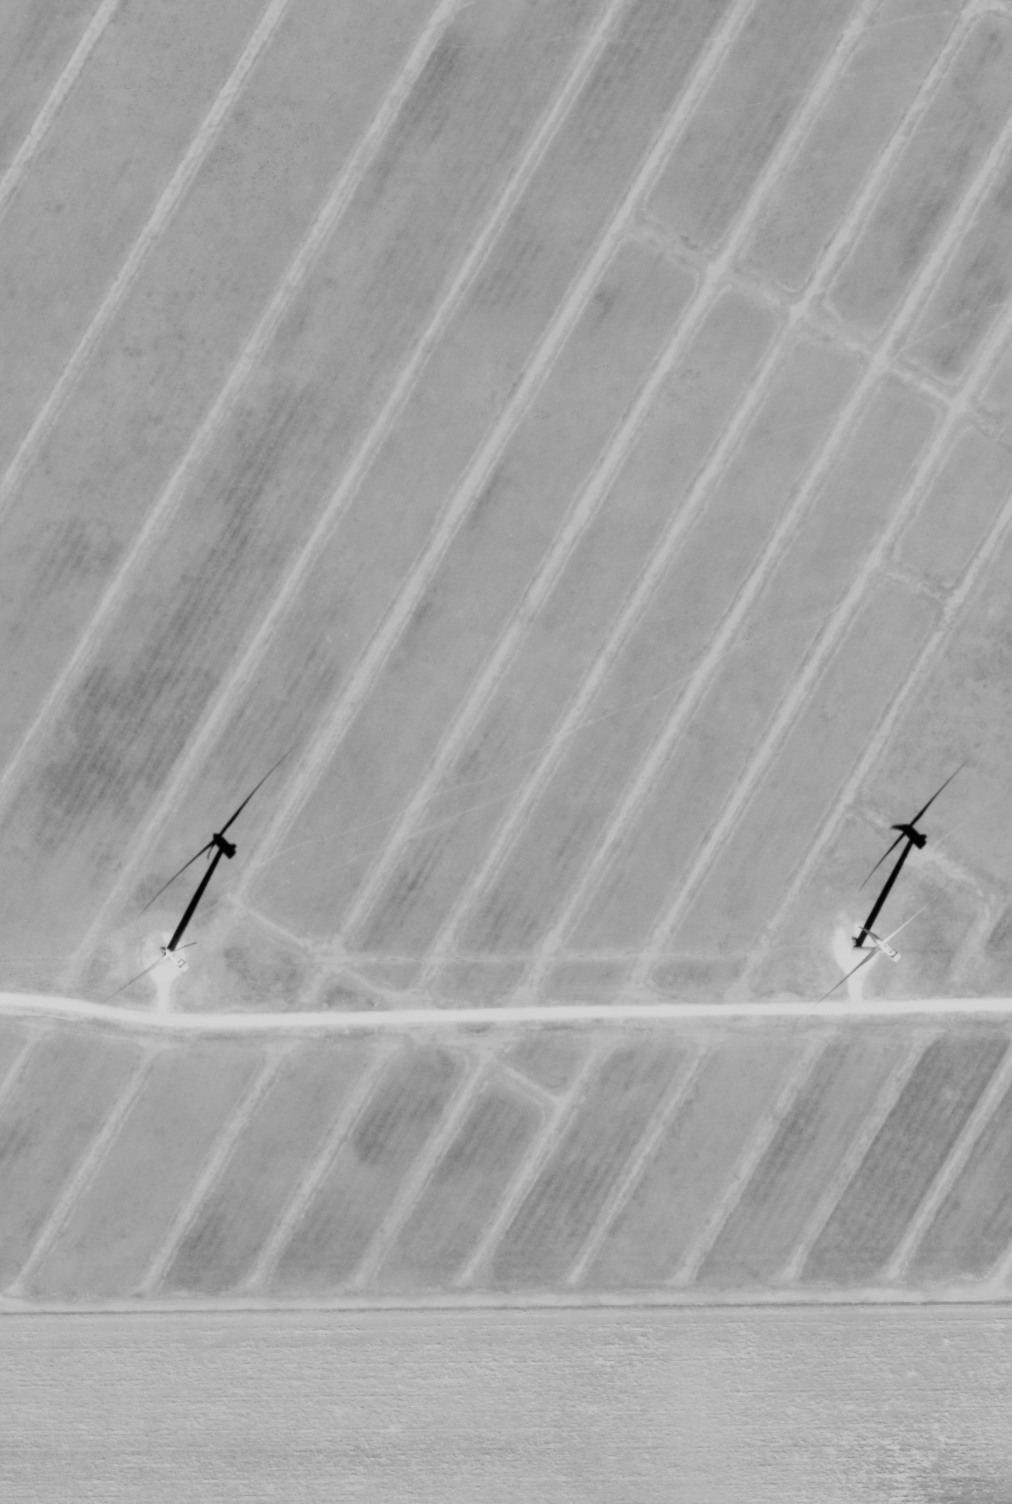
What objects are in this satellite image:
wind turbine: (861, 951)
wind turbine: (166, 964)

